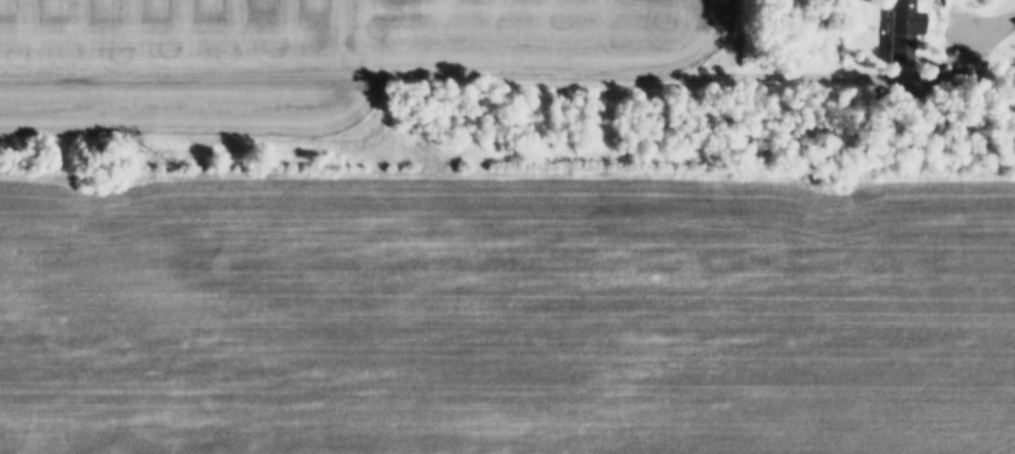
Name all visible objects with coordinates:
building: (905, 32)
road: (992, 35)
road: (488, 70)

